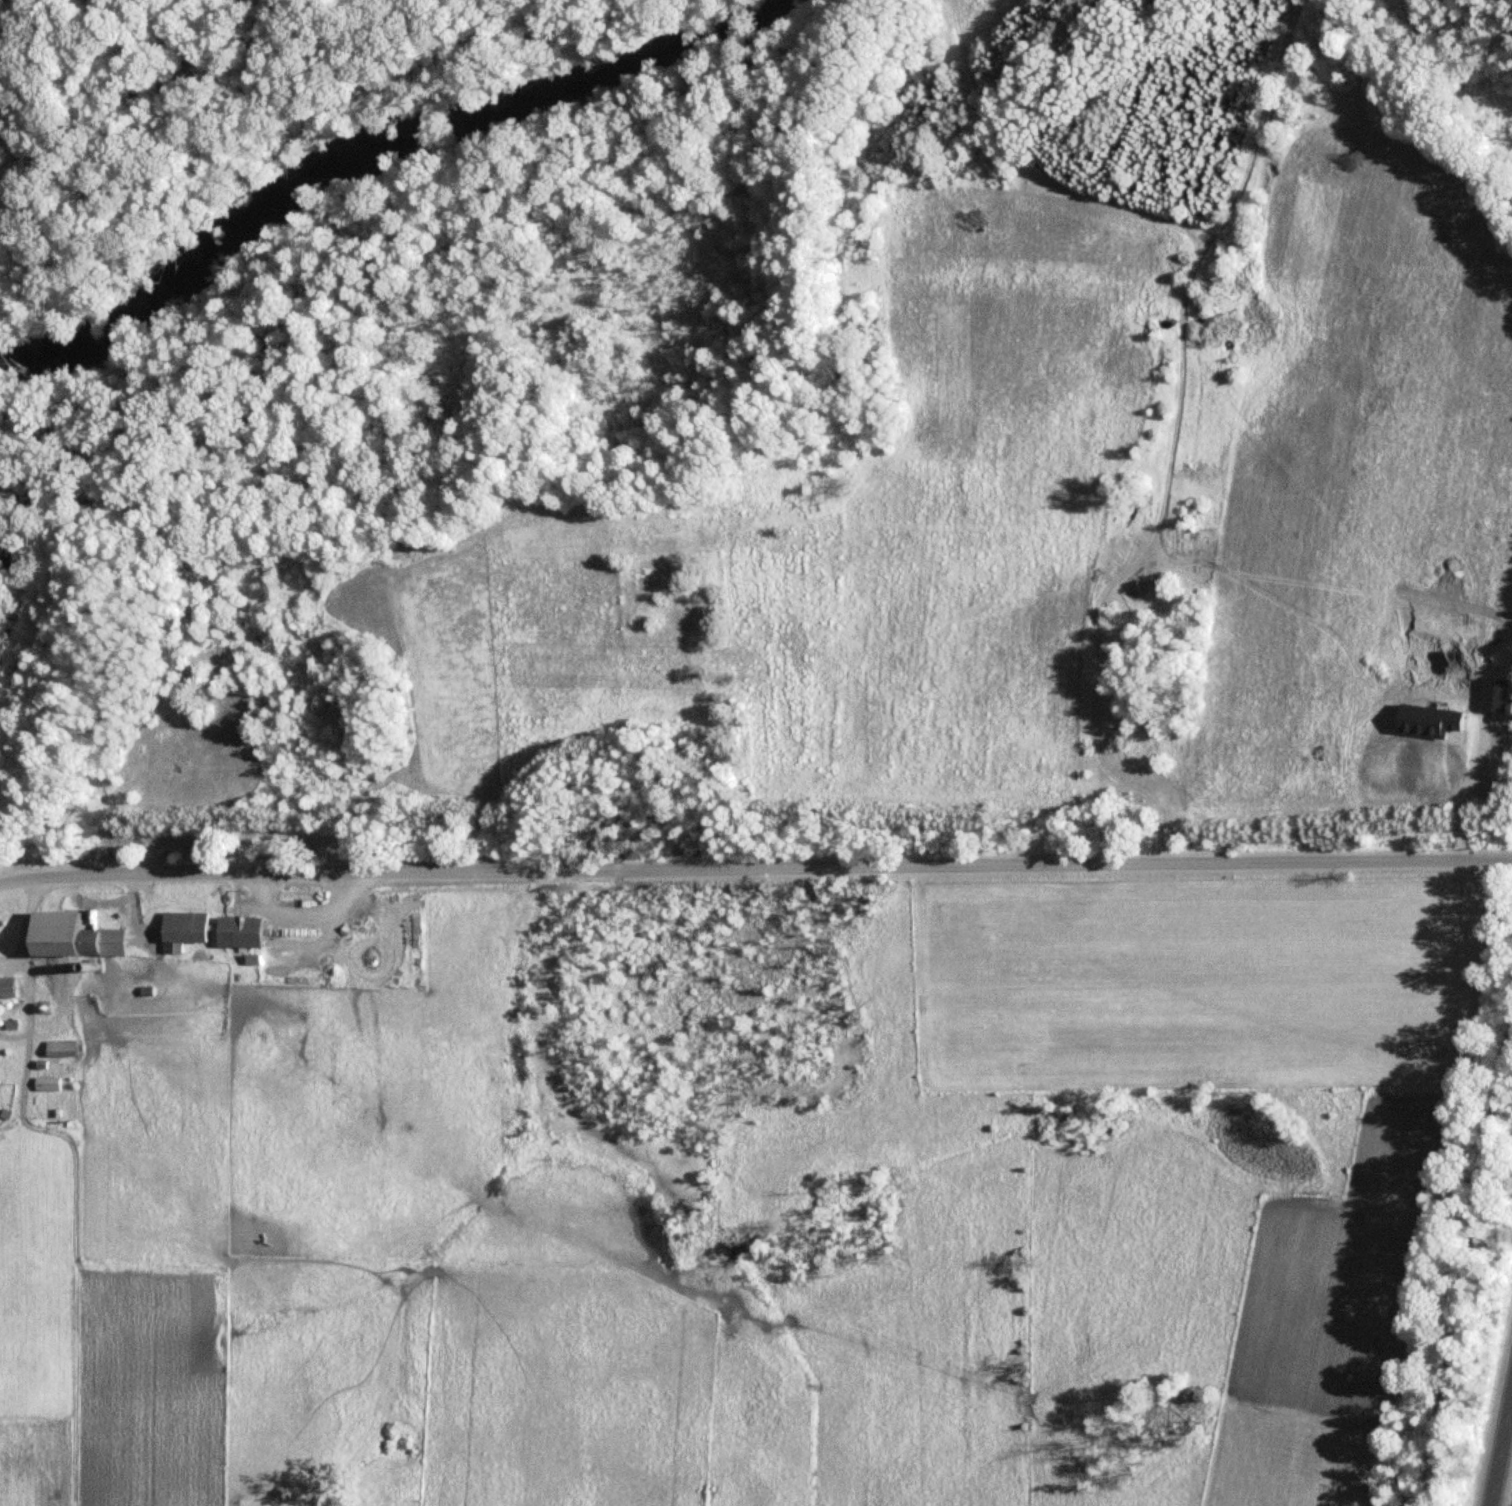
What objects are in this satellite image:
river: (370, 143)
road: (1464, 797)
road: (755, 871)
building: (89, 920)
building: (180, 931)
building: (235, 932)
building: (66, 937)
road: (14, 963)
road: (26, 982)
building: (6, 988)
road: (1469, 1266)
road: (1500, 1447)

